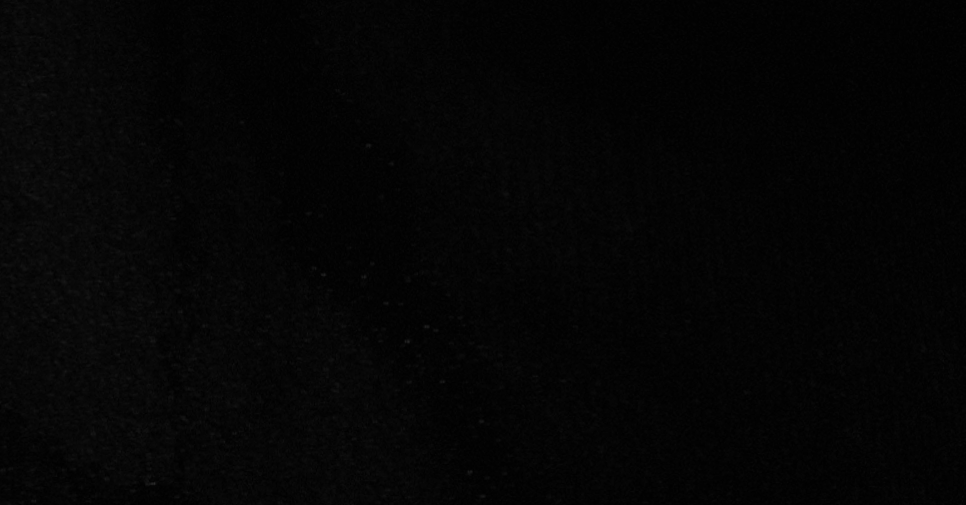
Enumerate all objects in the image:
river: (737, 252)

